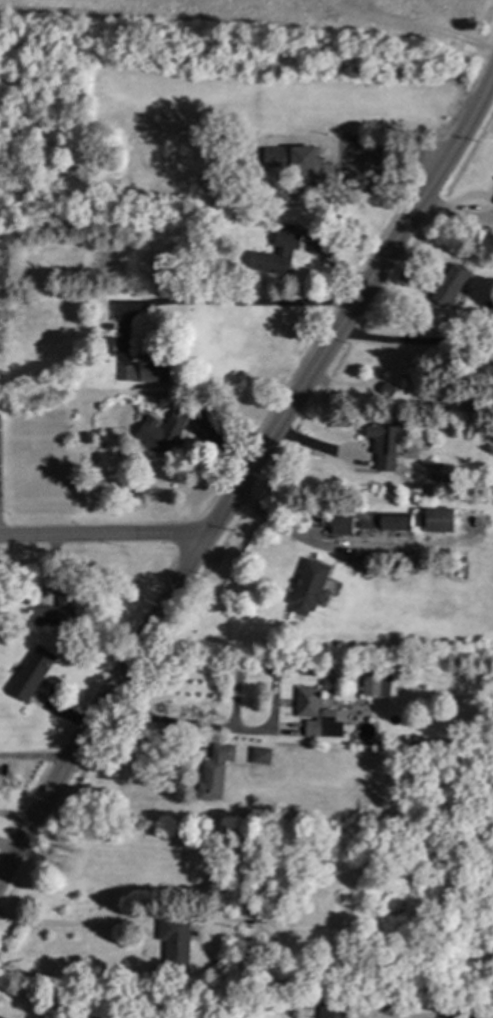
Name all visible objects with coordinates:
building: (277, 157)
building: (315, 166)
building: (492, 196)
building: (288, 249)
building: (453, 284)
road: (216, 303)
building: (489, 308)
building: (111, 326)
road: (416, 343)
building: (106, 345)
building: (150, 371)
building: (390, 390)
building: (1, 420)
building: (166, 433)
building: (391, 444)
road: (250, 472)
building: (442, 473)
building: (420, 519)
building: (442, 519)
building: (387, 520)
building: (344, 525)
road: (283, 529)
road: (102, 536)
building: (312, 587)
building: (58, 613)
building: (34, 673)
road: (62, 674)
building: (375, 682)
building: (315, 710)
road: (178, 724)
building: (263, 756)
road: (135, 759)
building: (217, 772)
road: (6, 849)
road: (74, 923)
building: (178, 941)
building: (248, 952)
building: (247, 965)
building: (337, 1011)

